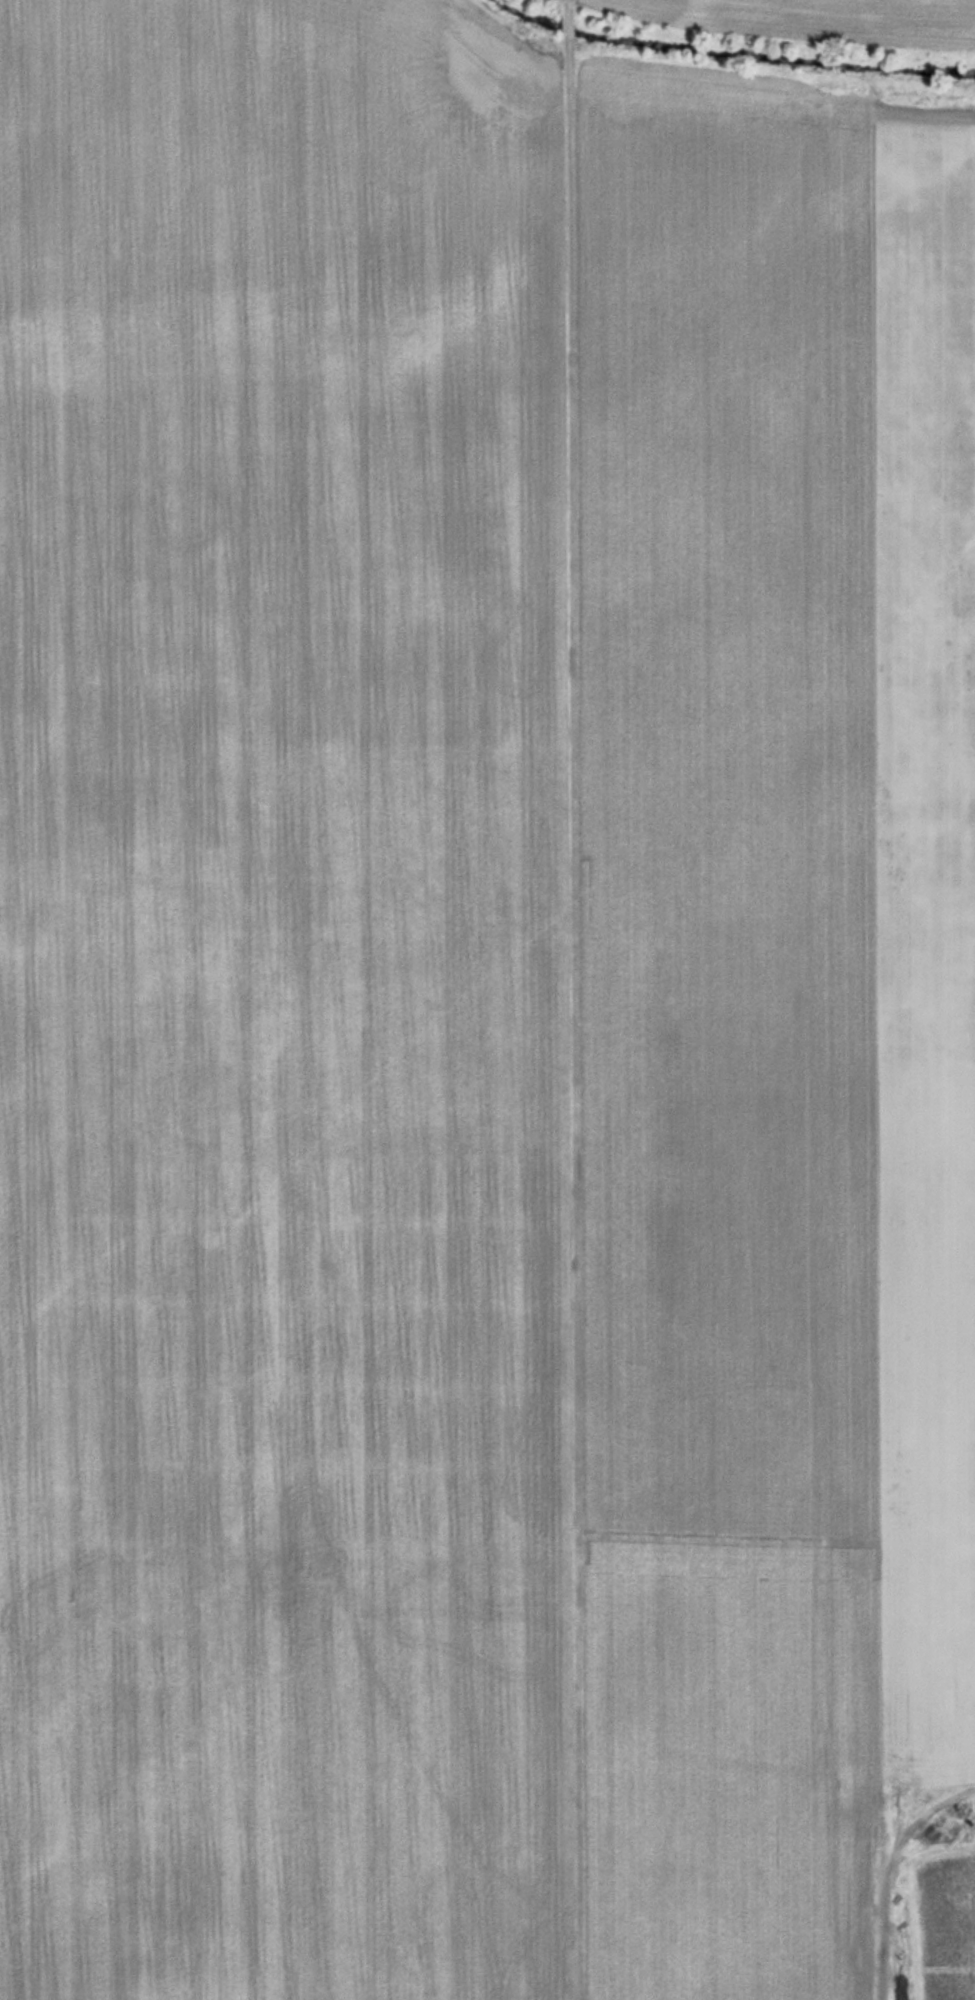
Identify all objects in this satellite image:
building: (903, 1957)

